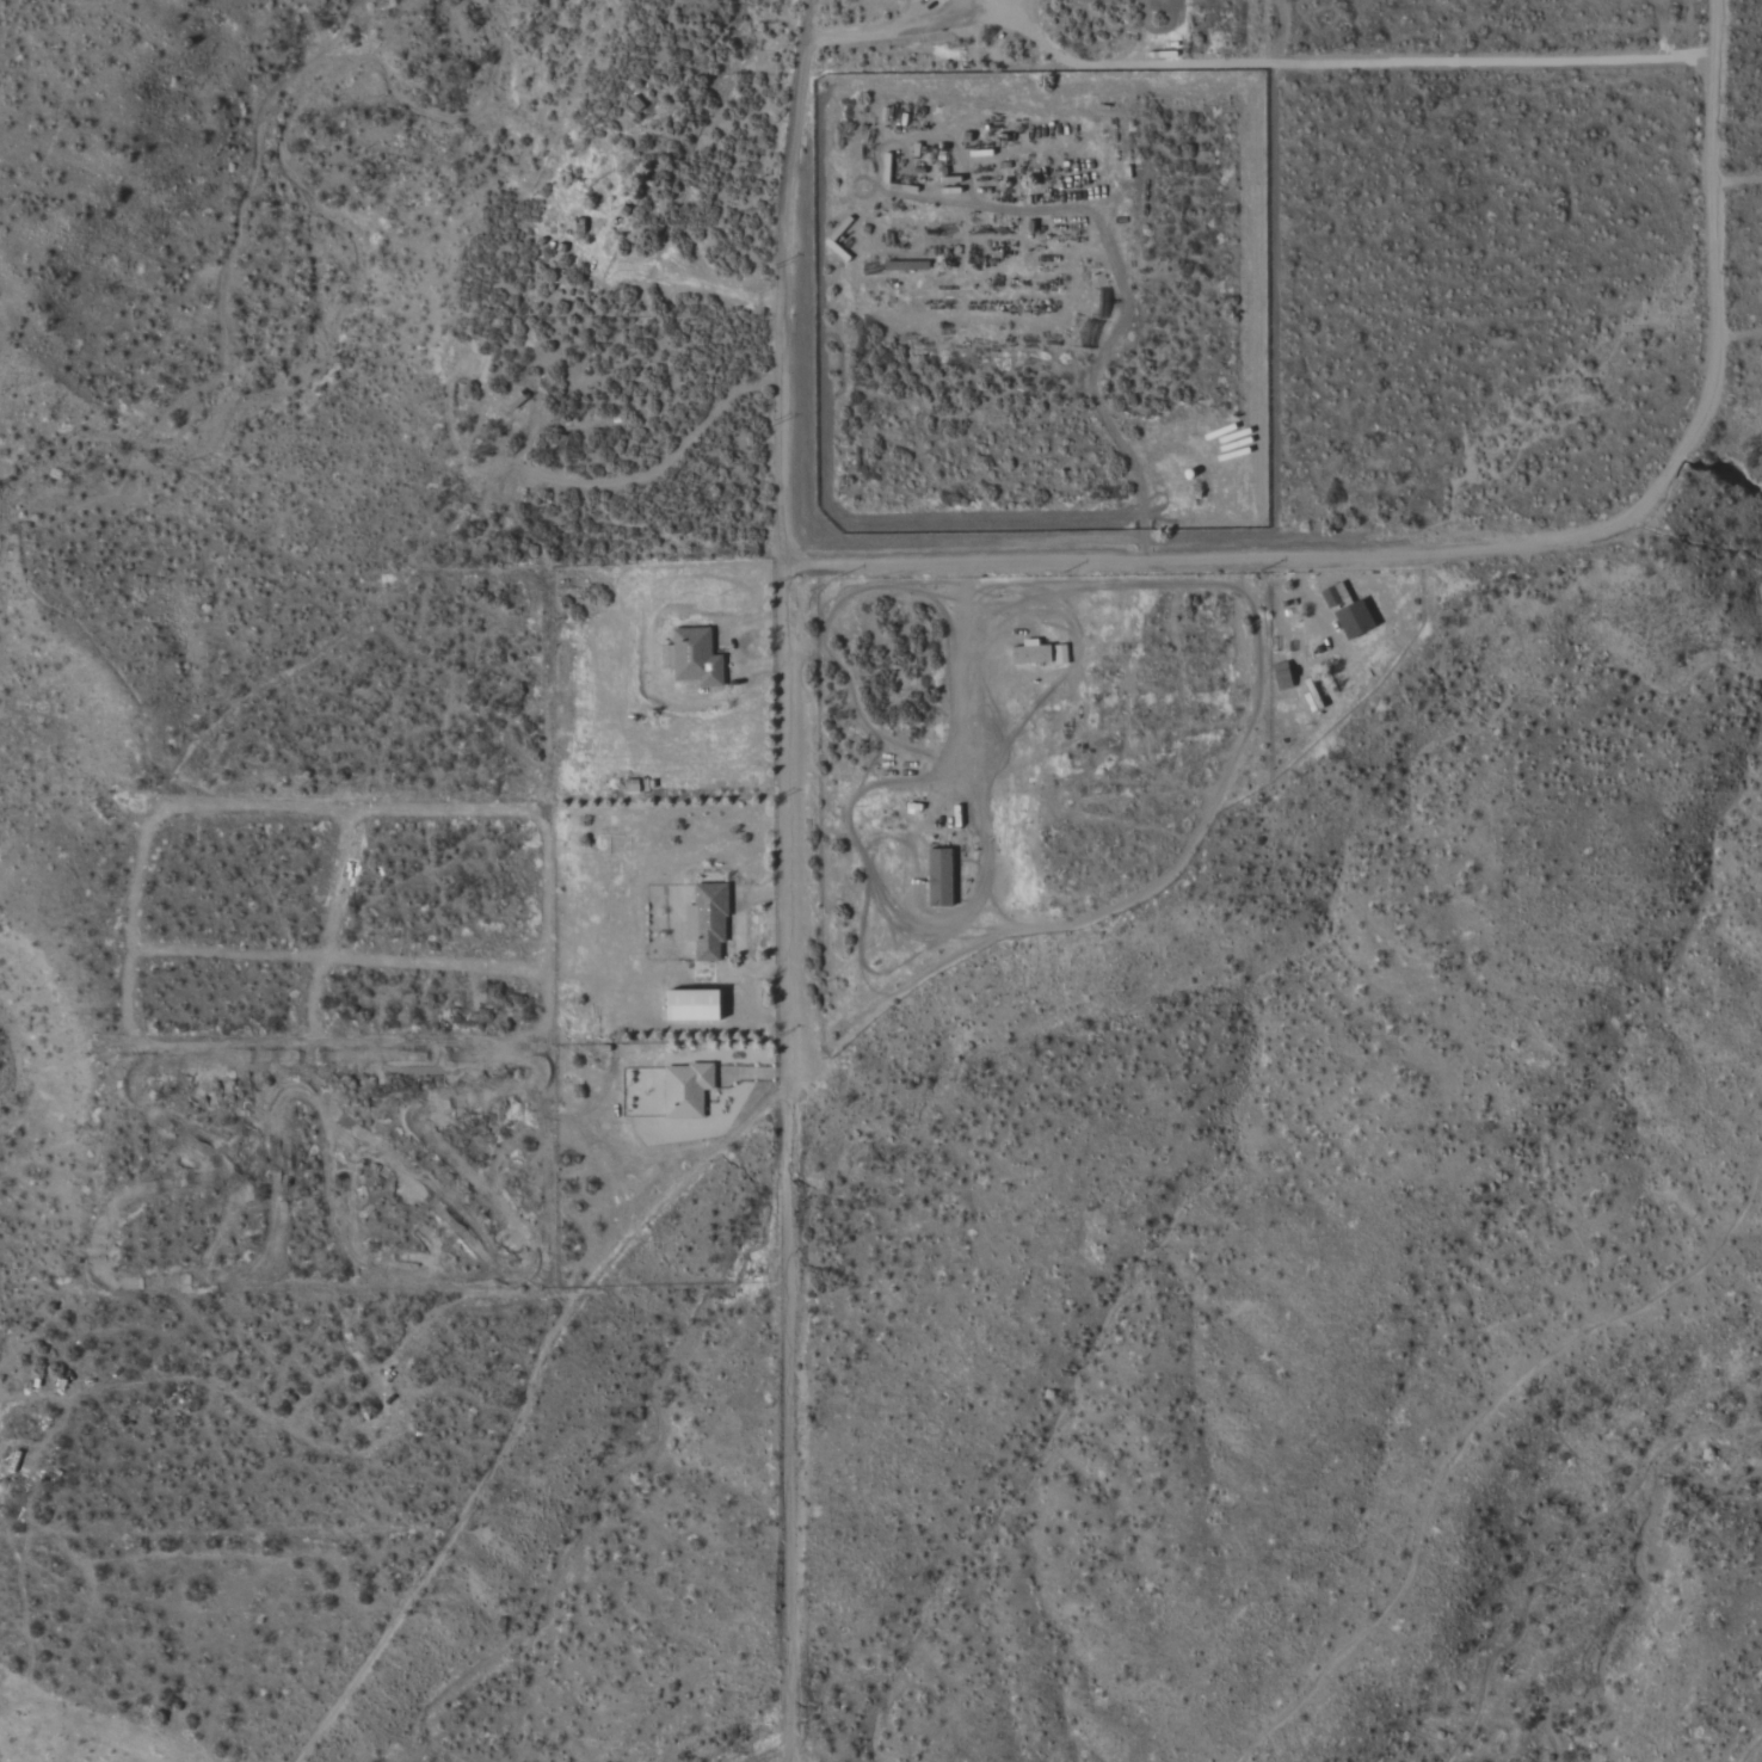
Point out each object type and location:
road: (877, 31)
road: (1258, 276)
road: (684, 282)
building: (515, 401)
road: (1481, 541)
building: (1031, 653)
building: (695, 658)
road: (956, 677)
building: (939, 877)
road: (787, 880)
building: (706, 923)
building: (692, 1006)
building: (686, 1090)
road: (524, 1406)
road: (332, 1449)

